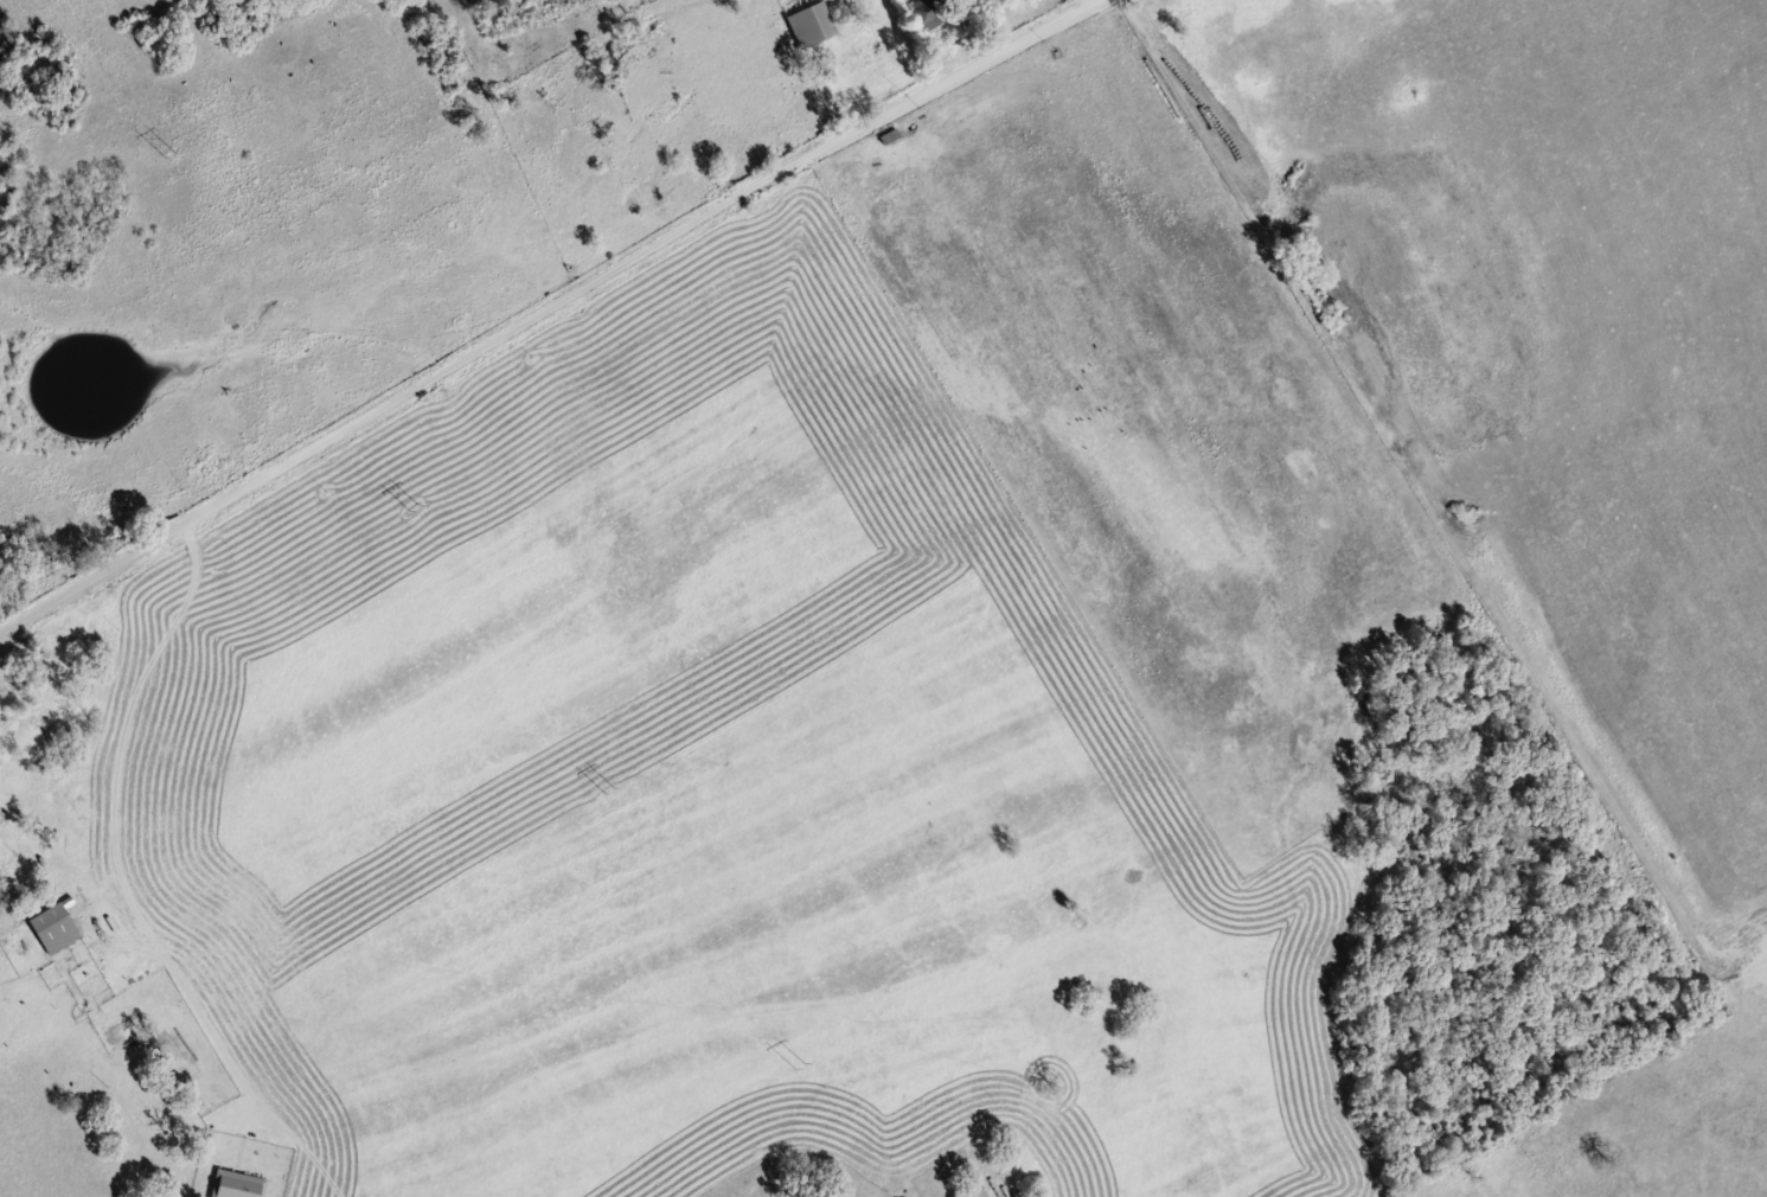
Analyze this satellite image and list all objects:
building: (804, 23)
power tower: (168, 154)
road: (534, 306)
power tower: (411, 507)
power tower: (609, 790)
road: (124, 826)
building: (59, 926)
power tower: (799, 1064)
building: (242, 1184)

